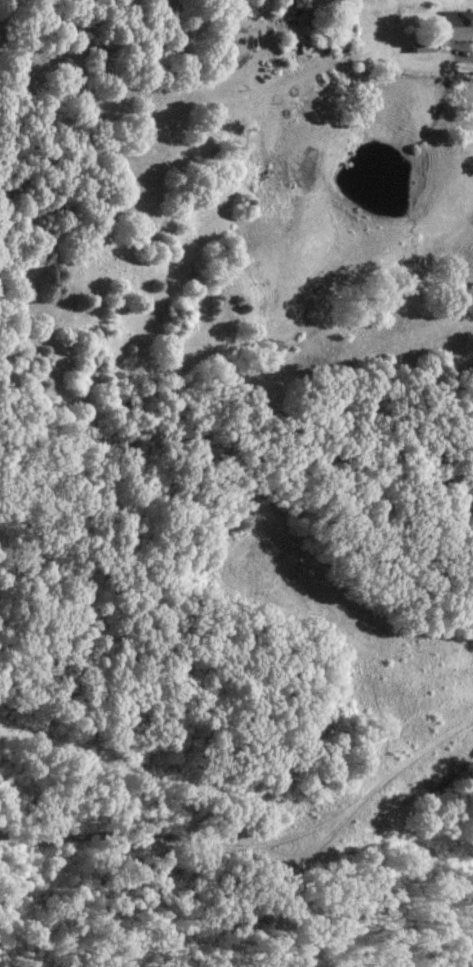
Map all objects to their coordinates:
building: (456, 22)
road: (468, 51)

